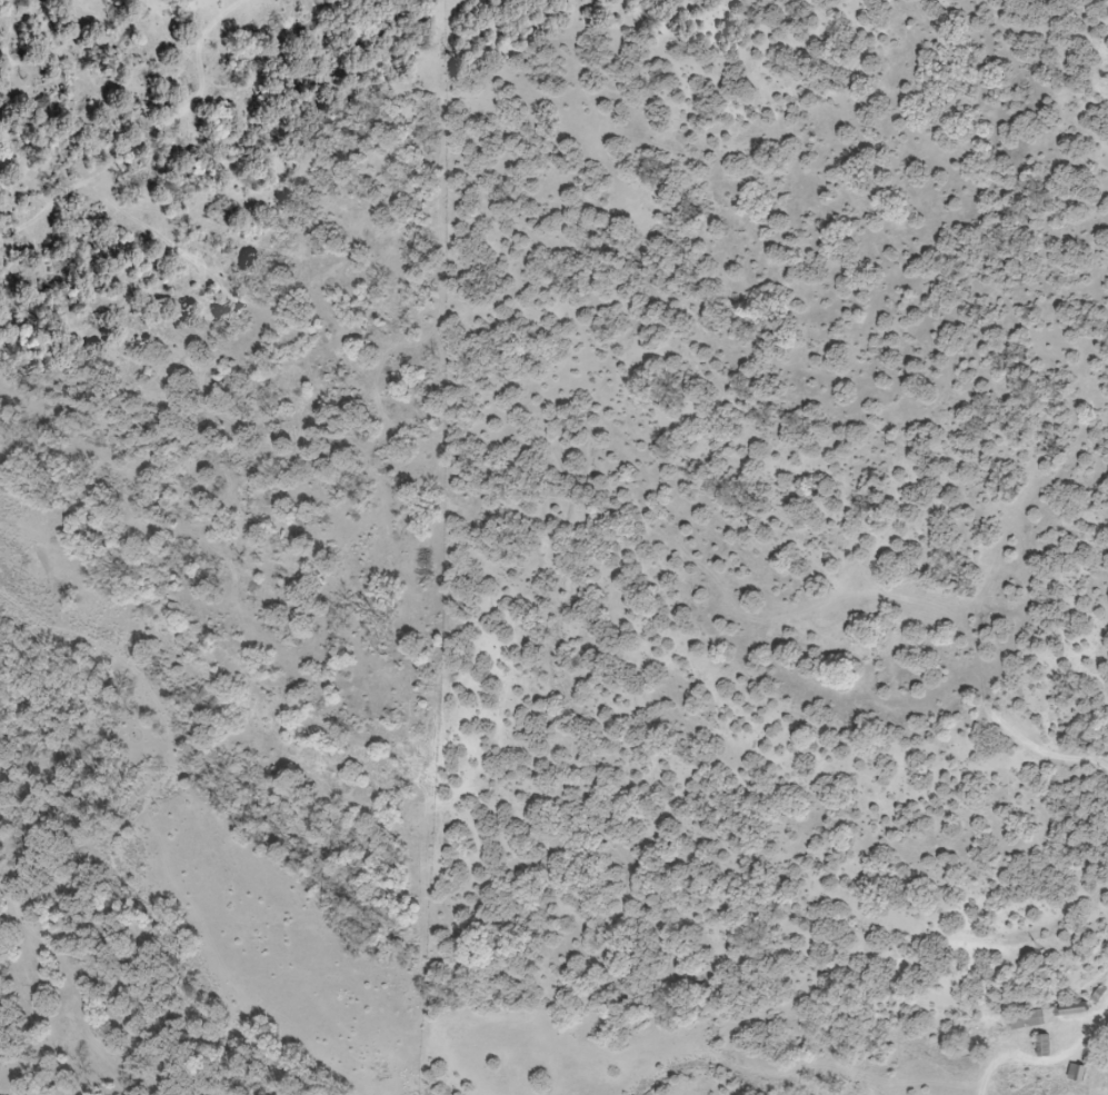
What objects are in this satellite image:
building: (1070, 1007)
building: (1024, 1019)
building: (1076, 1072)

